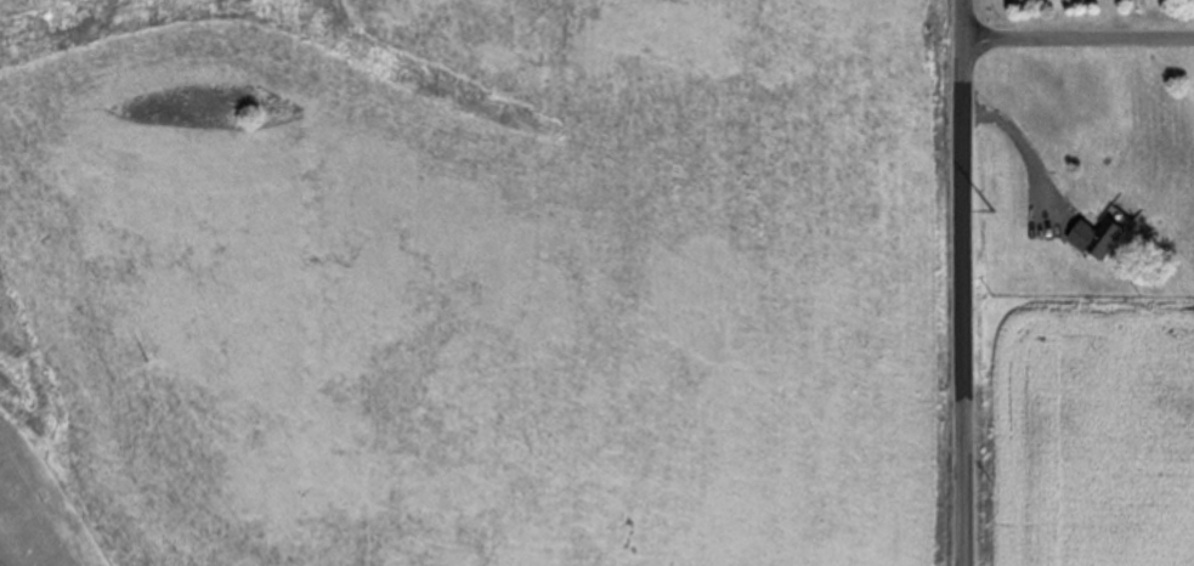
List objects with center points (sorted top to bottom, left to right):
road: (1079, 36)
road: (1025, 149)
building: (1097, 237)
road: (962, 282)

